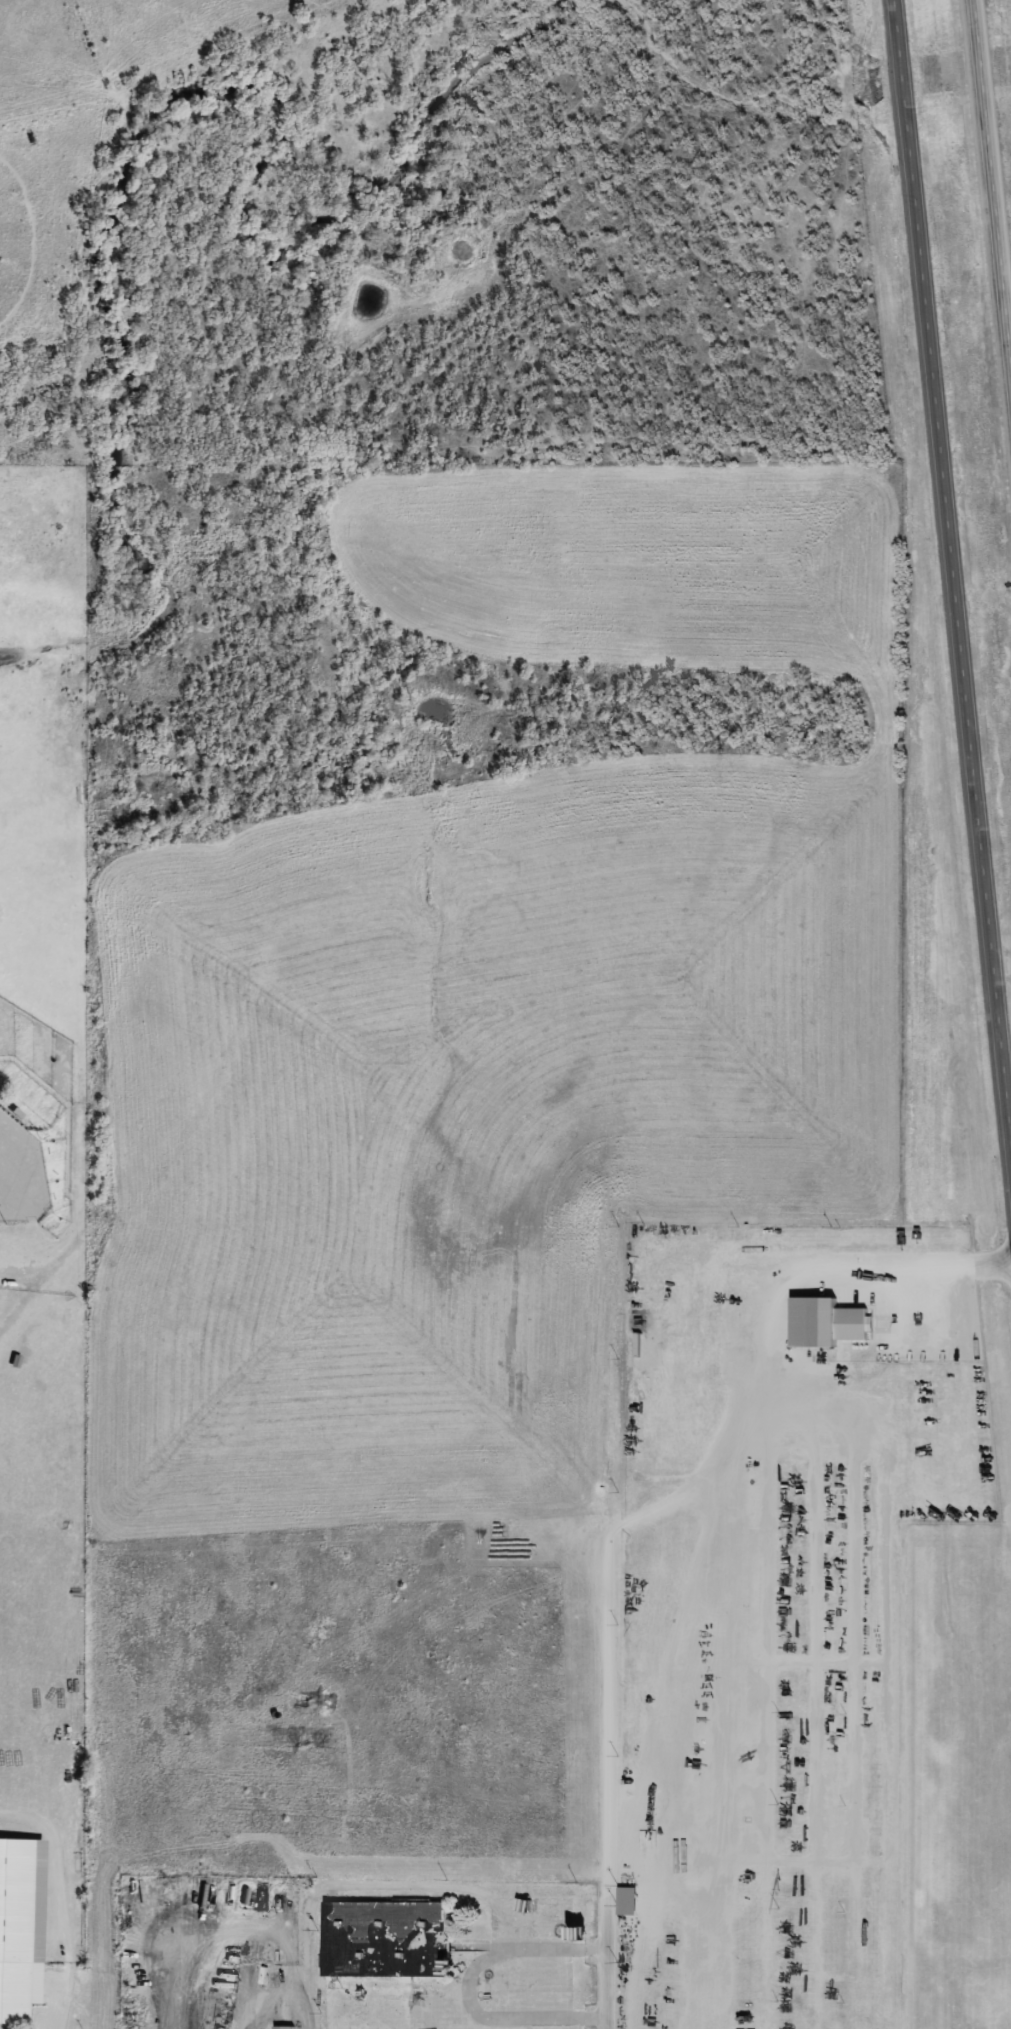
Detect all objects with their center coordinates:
road: (991, 191)
road: (951, 581)
railway: (502, 767)
building: (825, 1322)
building: (21, 1928)
building: (398, 1937)
building: (279, 2027)

